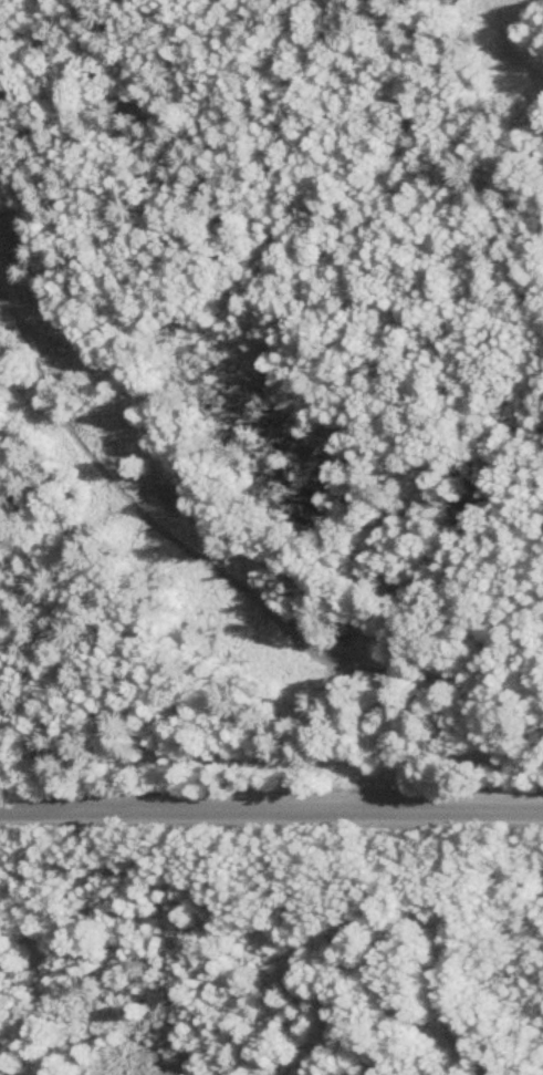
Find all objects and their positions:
road: (271, 814)
building: (336, 996)

